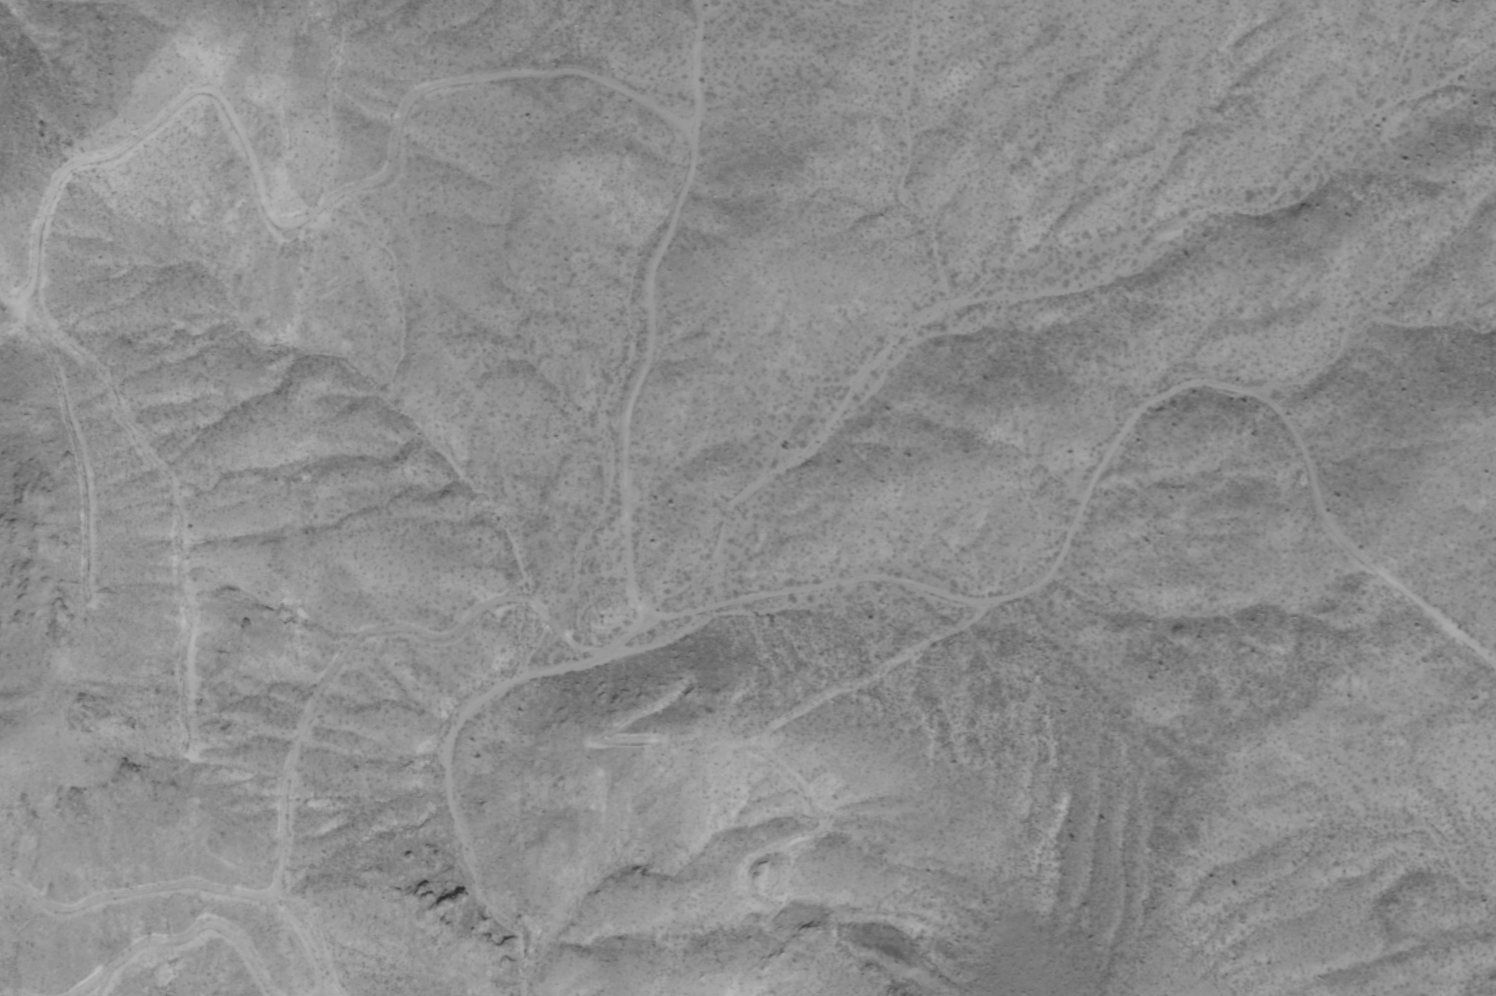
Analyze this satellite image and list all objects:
road: (277, 240)
road: (653, 326)
road: (770, 622)
road: (793, 748)

